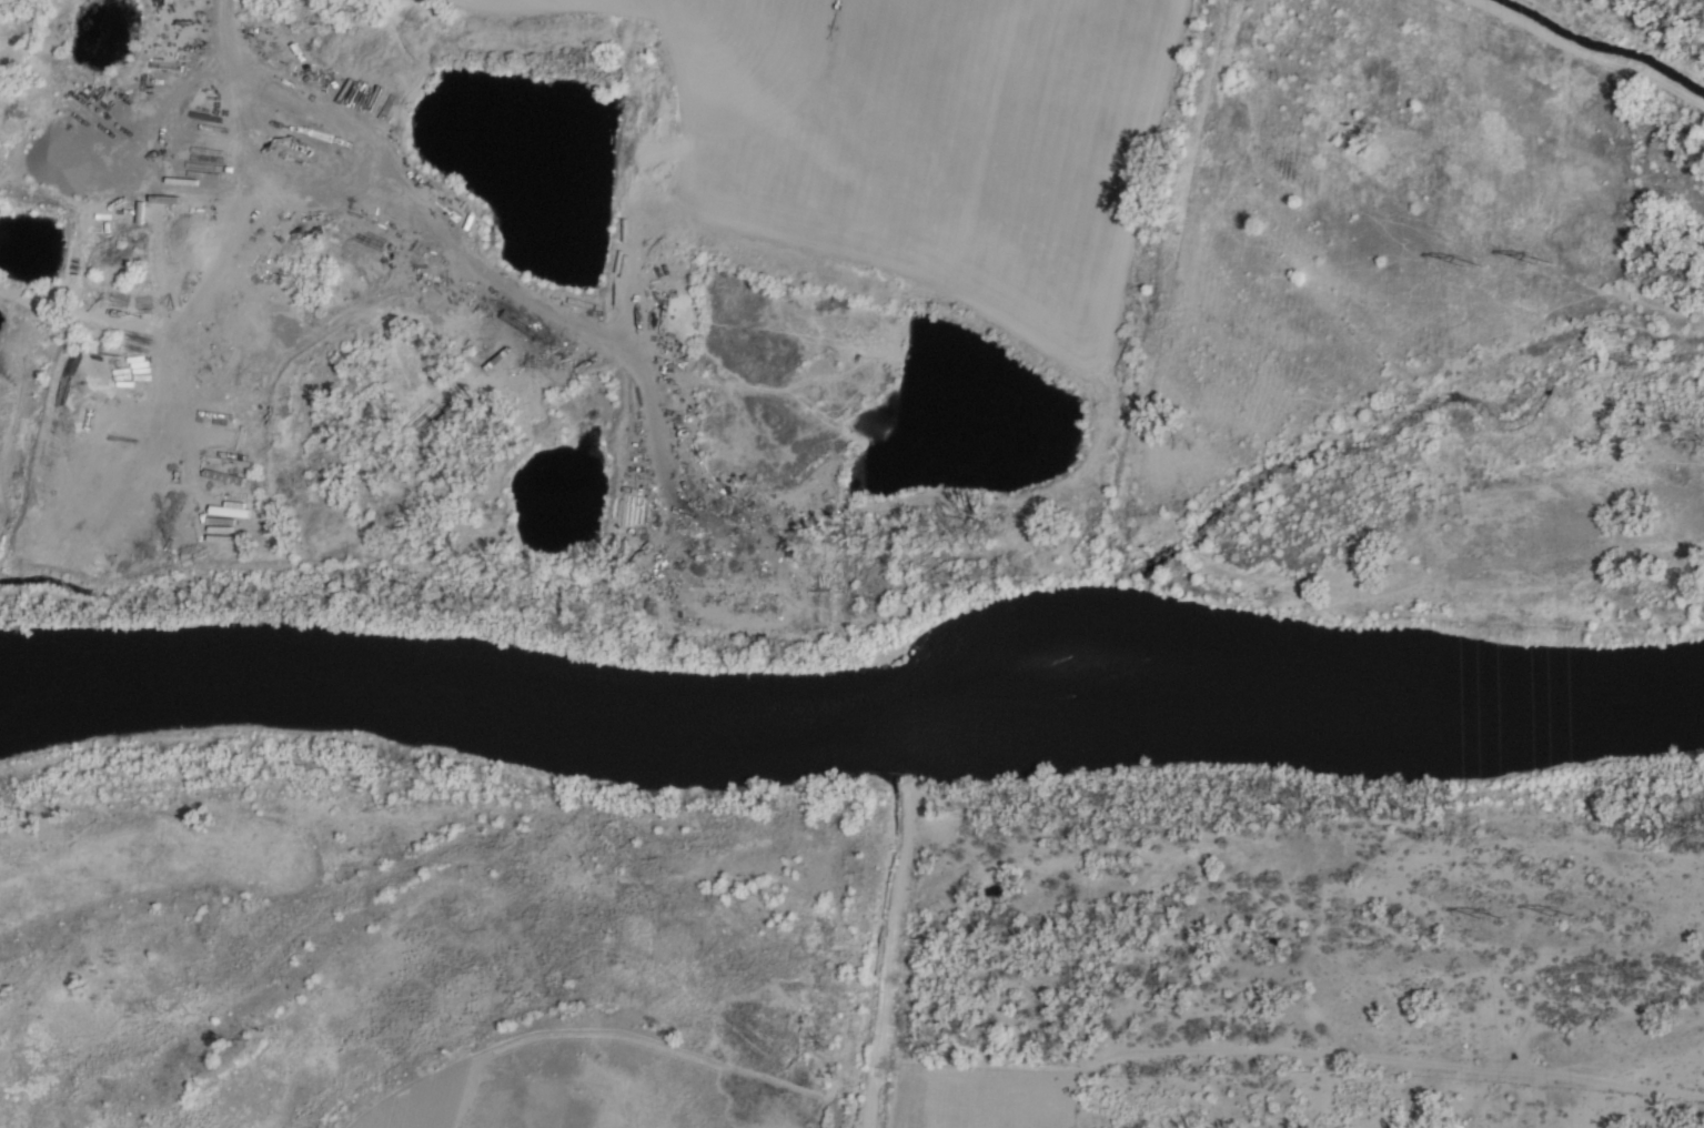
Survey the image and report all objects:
power tower: (1466, 264)
power tower: (1537, 266)
river: (849, 727)

